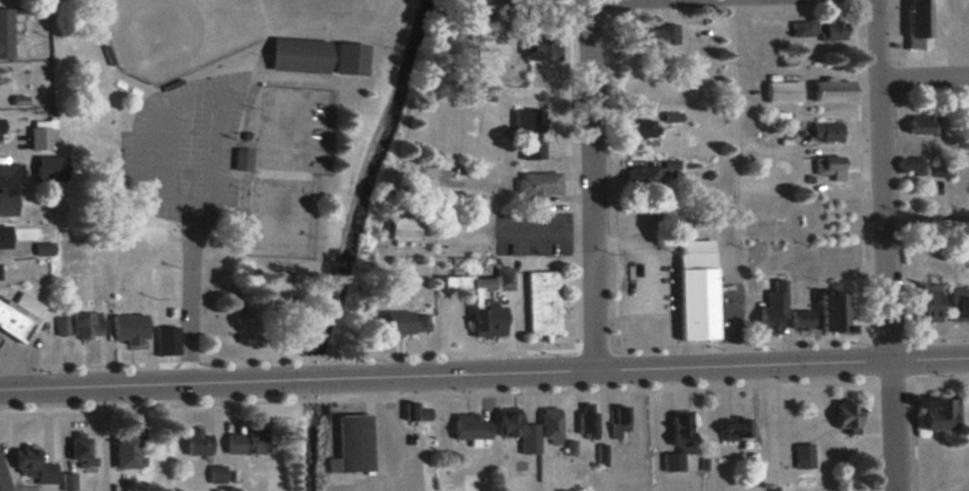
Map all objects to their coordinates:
park: (390, 5)
building: (481, 15)
road: (587, 18)
building: (914, 22)
building: (800, 28)
building: (827, 30)
park: (178, 31)
building: (5, 32)
building: (648, 35)
building: (538, 47)
building: (298, 54)
building: (349, 58)
road: (922, 76)
building: (828, 90)
building: (779, 91)
building: (317, 99)
building: (919, 124)
park: (294, 128)
building: (636, 128)
building: (823, 131)
building: (525, 134)
building: (39, 139)
park: (230, 145)
building: (825, 166)
building: (50, 167)
building: (456, 171)
building: (638, 176)
road: (729, 183)
building: (535, 184)
building: (9, 187)
road: (592, 195)
building: (283, 220)
building: (400, 227)
building: (4, 237)
road: (882, 245)
building: (692, 289)
building: (539, 302)
building: (923, 303)
building: (956, 303)
building: (769, 308)
building: (19, 314)
building: (829, 314)
building: (797, 319)
building: (403, 322)
building: (78, 324)
building: (129, 328)
building: (167, 340)
road: (653, 369)
road: (315, 380)
road: (146, 386)
building: (413, 409)
building: (933, 412)
building: (841, 414)
building: (583, 419)
building: (615, 421)
building: (467, 425)
building: (730, 427)
building: (678, 434)
building: (250, 437)
building: (196, 440)
building: (350, 442)
building: (127, 446)
building: (79, 451)
building: (799, 454)
building: (32, 465)
building: (1, 471)
building: (216, 472)
building: (858, 490)

